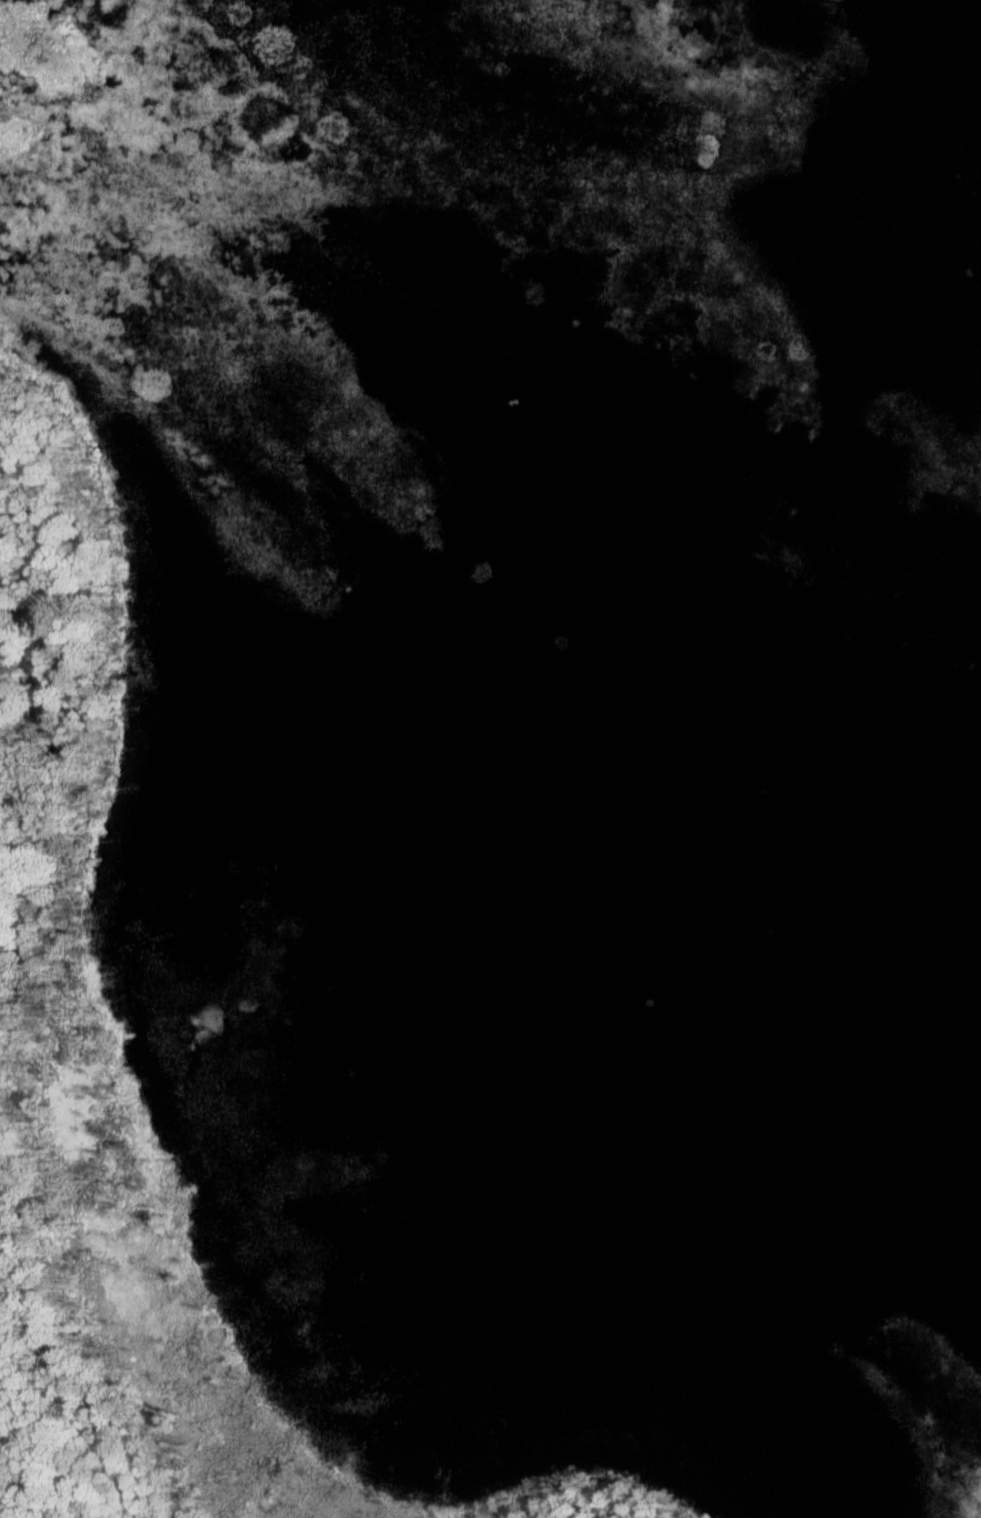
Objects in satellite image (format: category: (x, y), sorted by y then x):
road: (22, 580)

